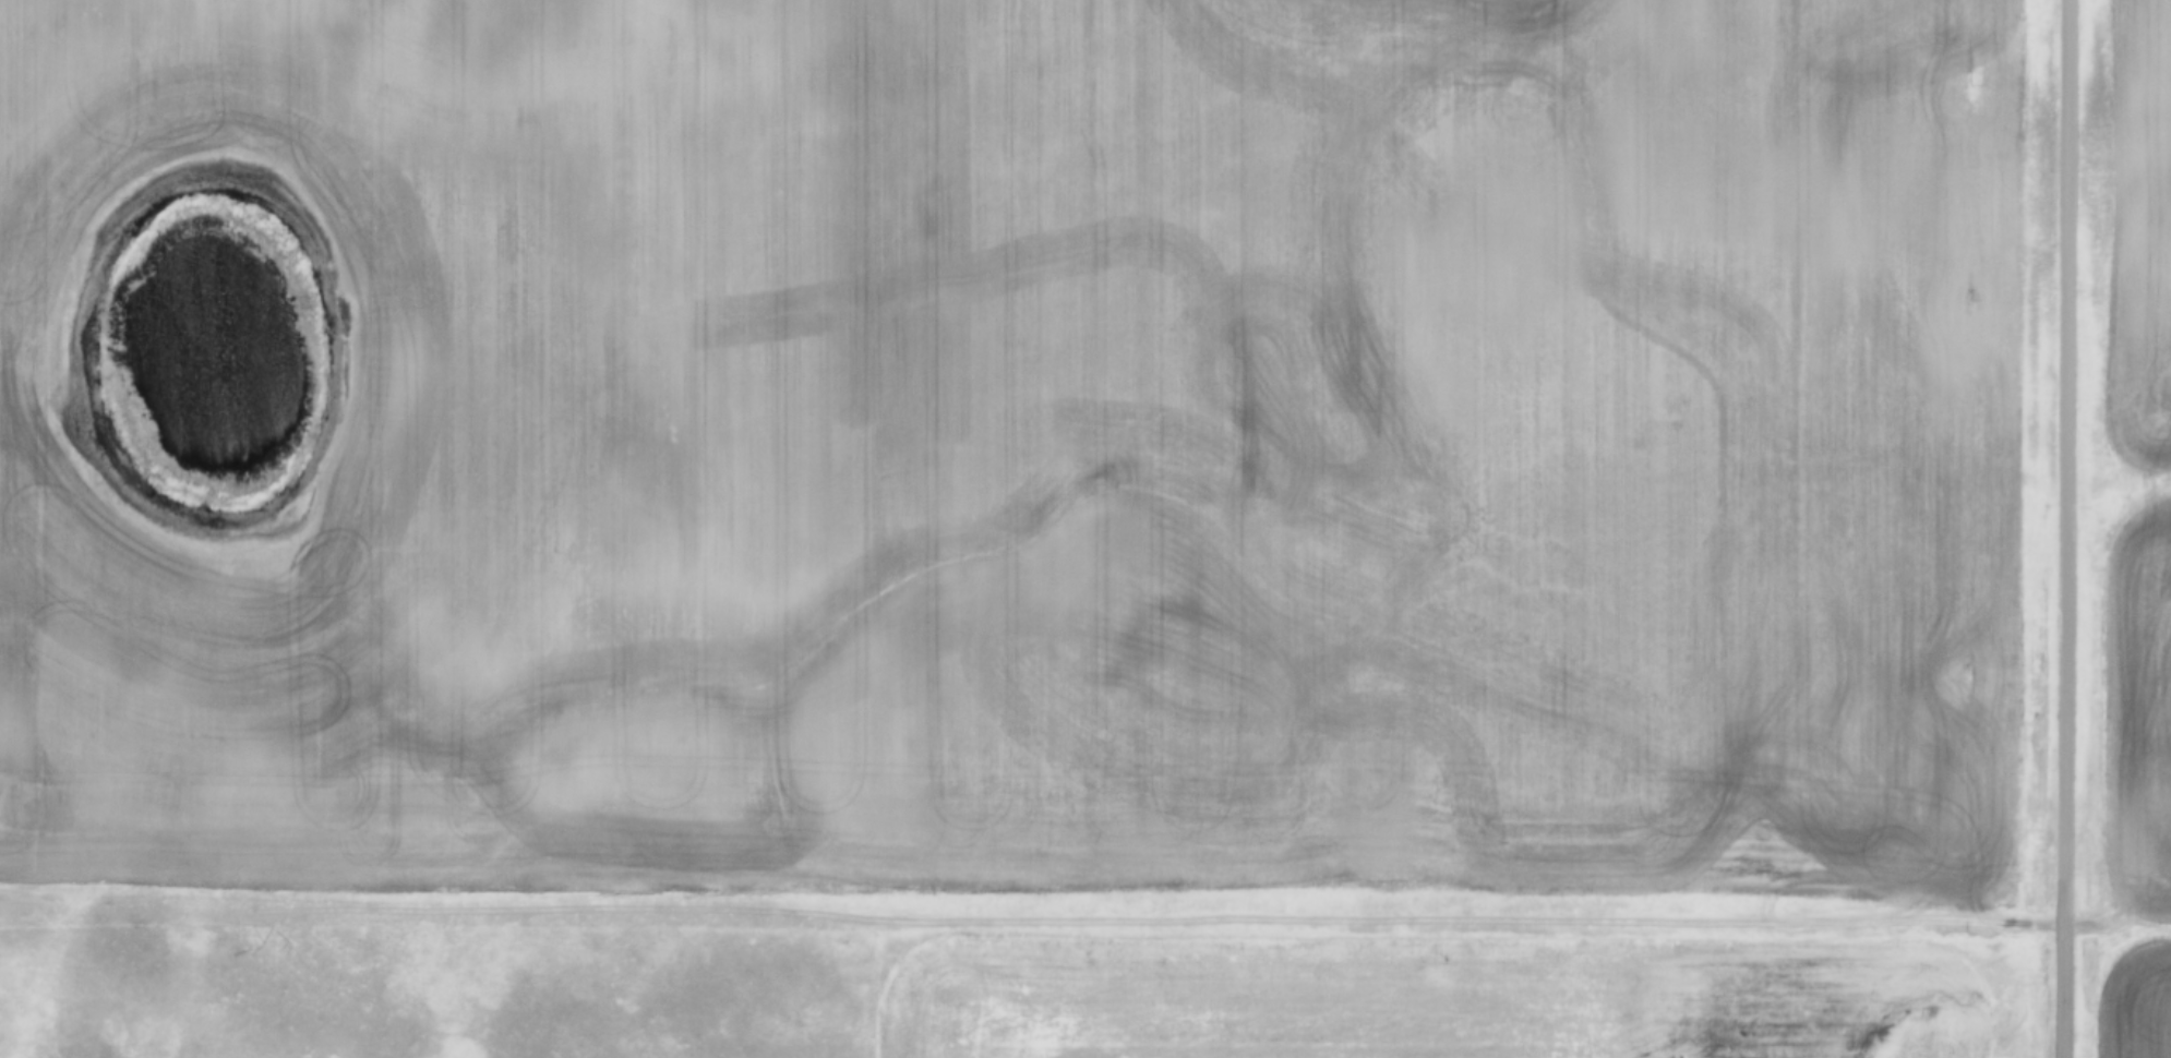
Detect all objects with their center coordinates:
road: (2071, 529)

